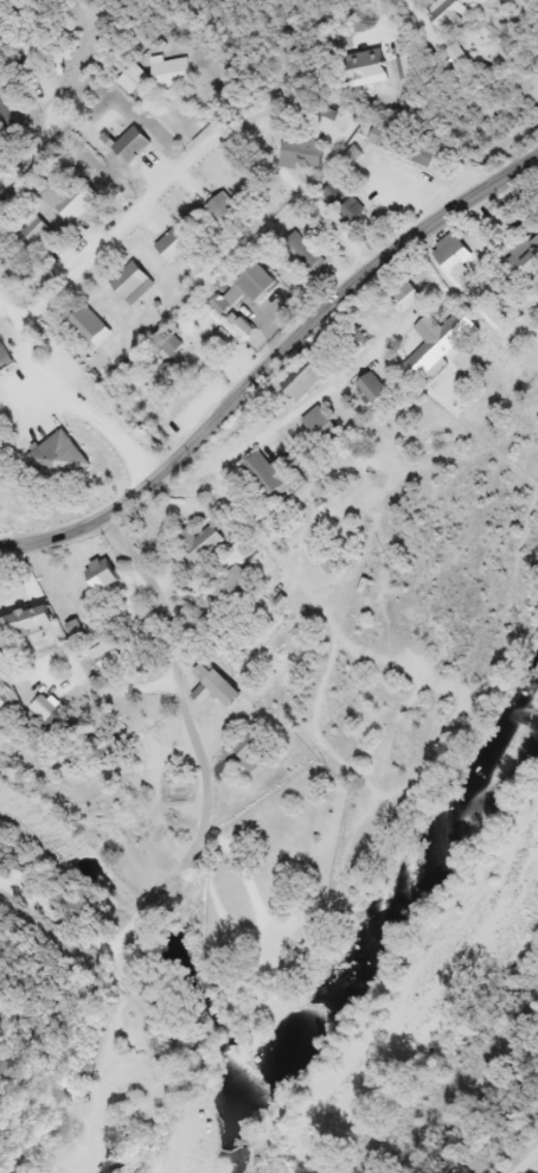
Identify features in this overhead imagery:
road: (380, 7)
building: (453, 15)
building: (460, 57)
building: (172, 72)
building: (137, 84)
road: (51, 119)
building: (8, 122)
building: (391, 139)
building: (134, 146)
building: (306, 152)
building: (424, 154)
building: (70, 196)
building: (346, 202)
building: (228, 213)
road: (120, 225)
building: (37, 231)
building: (179, 246)
building: (307, 253)
building: (455, 253)
building: (527, 260)
building: (135, 283)
building: (250, 288)
building: (409, 299)
road: (9, 314)
building: (91, 327)
building: (199, 342)
building: (171, 344)
building: (435, 349)
building: (5, 359)
road: (273, 364)
building: (308, 377)
building: (378, 391)
building: (139, 396)
building: (325, 428)
building: (62, 461)
building: (275, 477)
building: (205, 542)
building: (340, 557)
building: (231, 584)
building: (30, 629)
building: (108, 655)
building: (218, 686)
building: (8, 688)
building: (258, 748)
road: (206, 799)
building: (76, 905)
river: (371, 963)
building: (154, 989)
road: (117, 1046)
building: (5, 1062)
road: (520, 1158)

